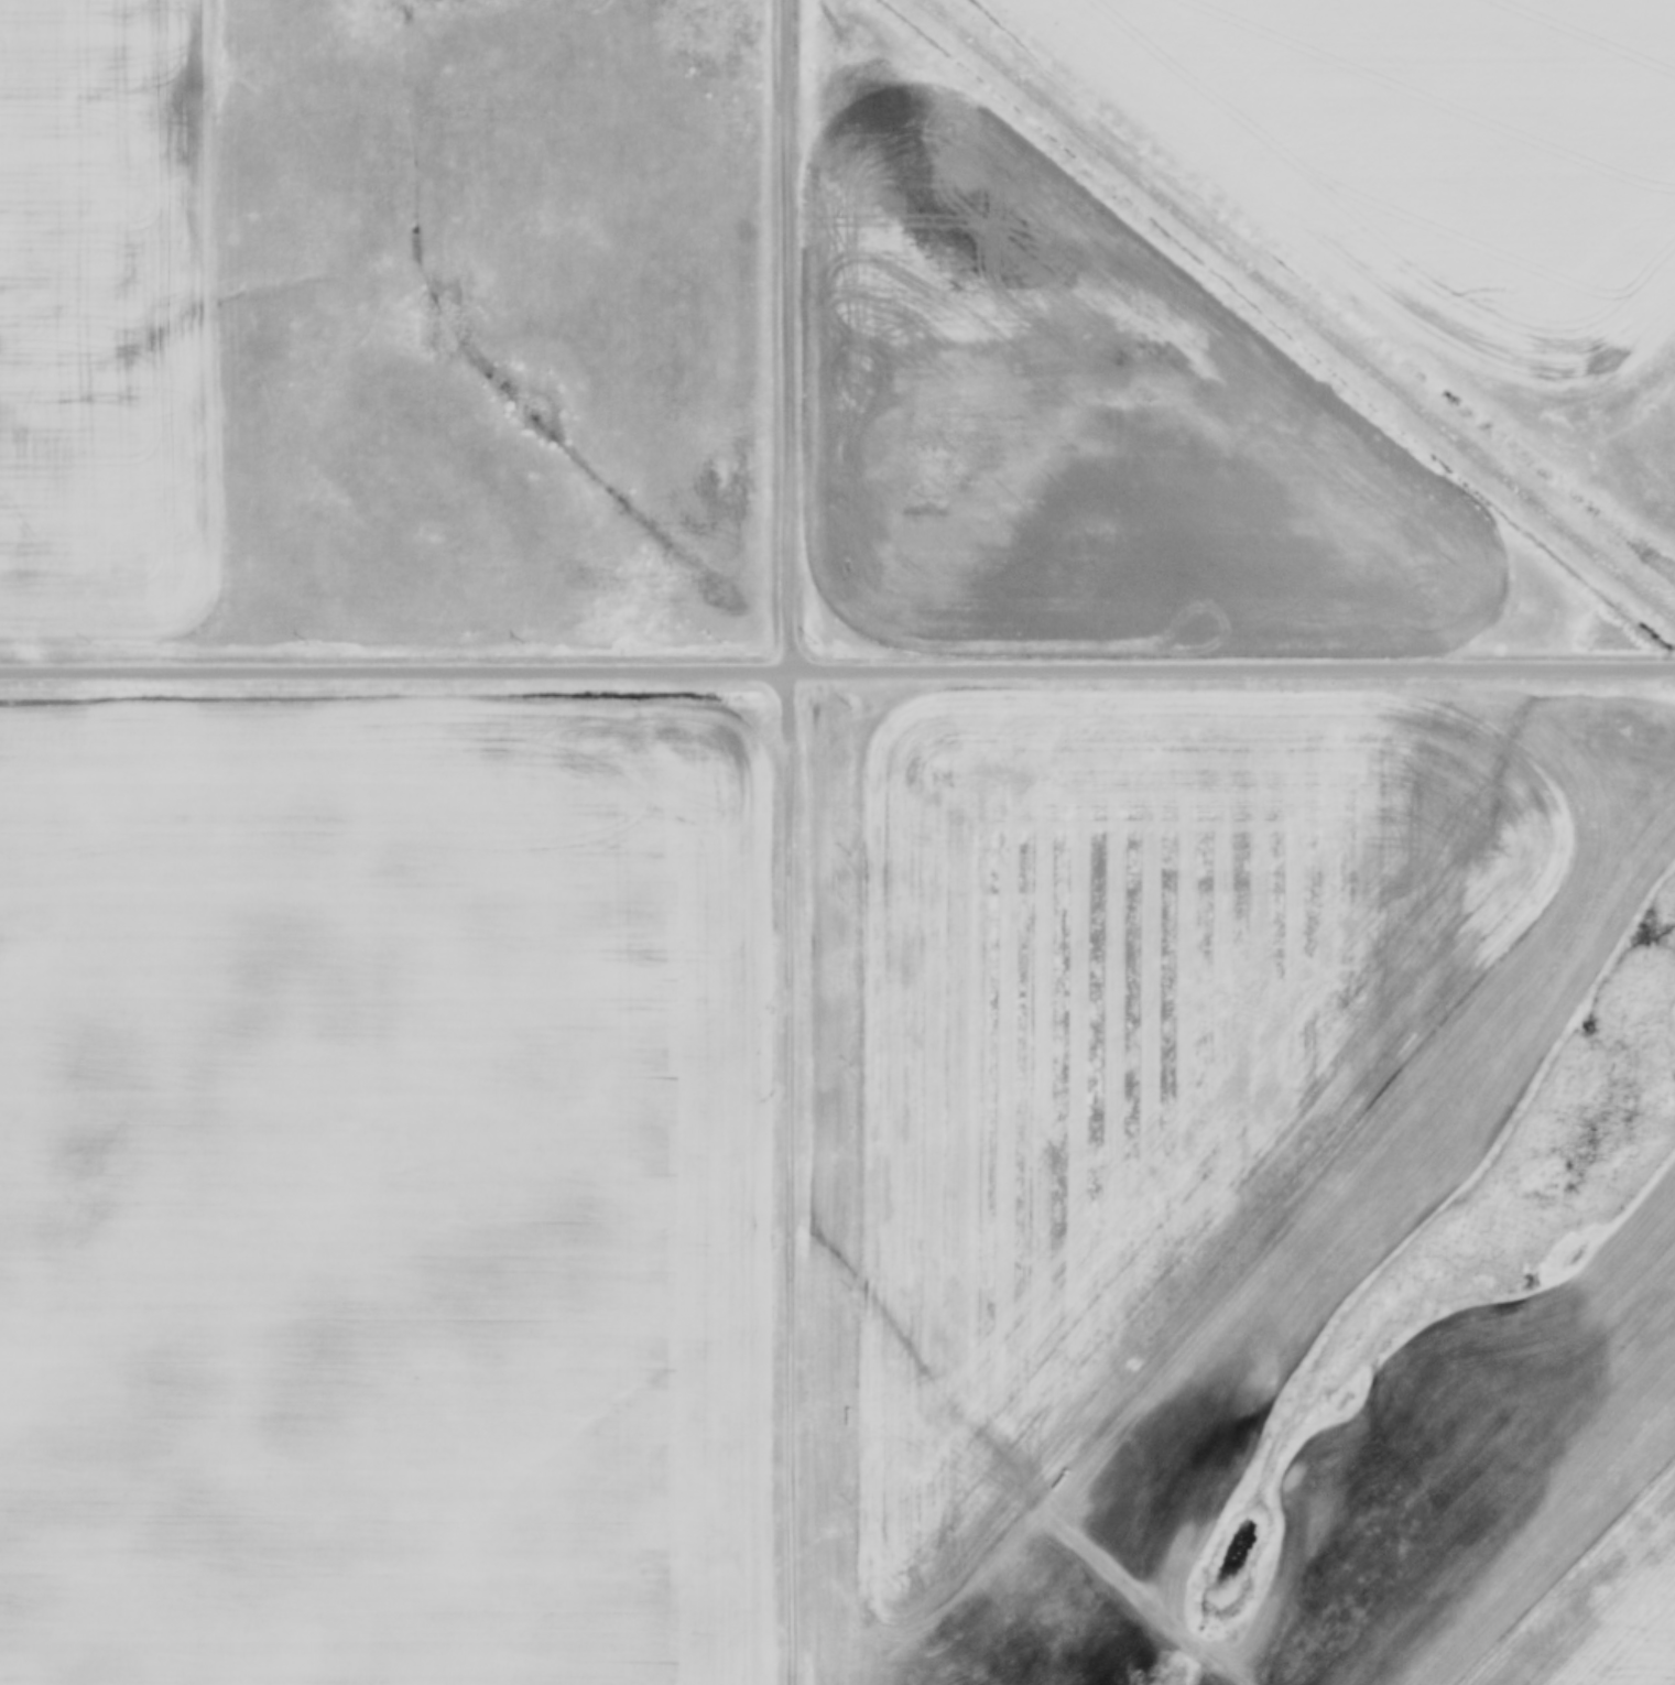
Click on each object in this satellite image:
road: (837, 671)
road: (790, 841)

